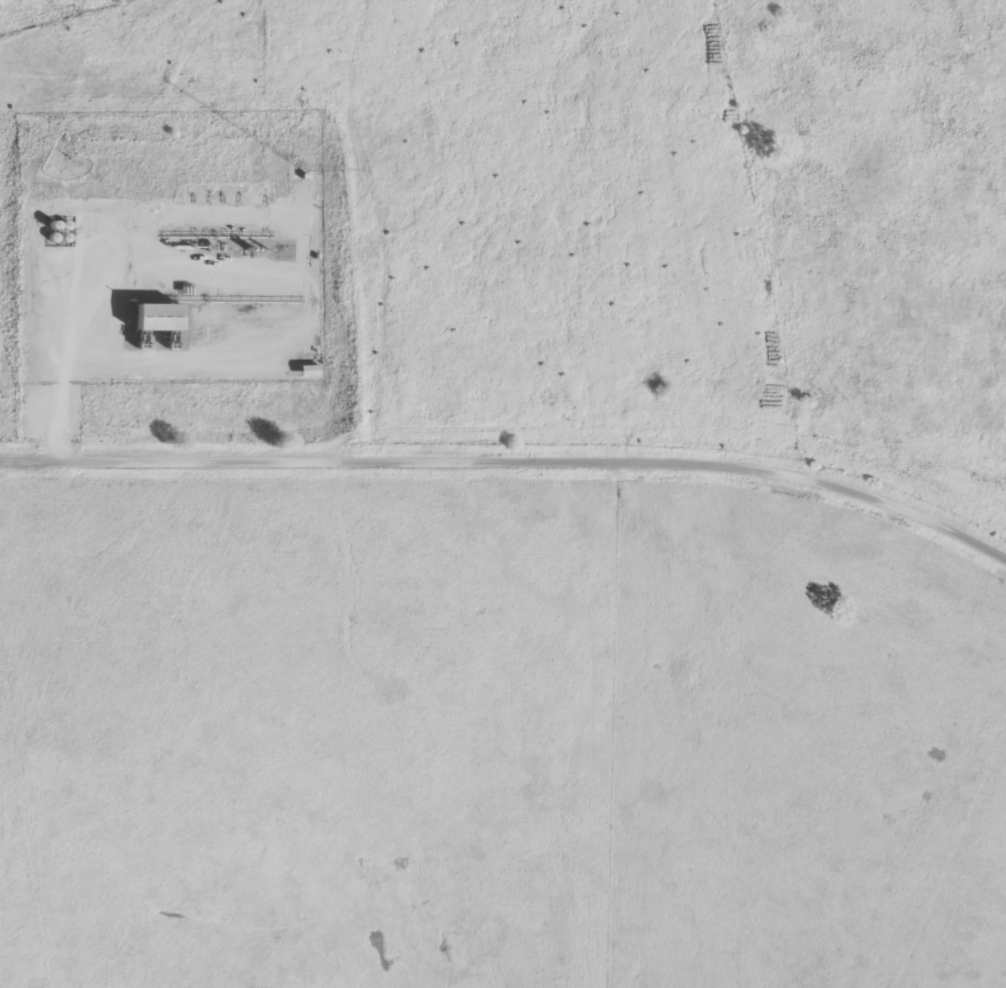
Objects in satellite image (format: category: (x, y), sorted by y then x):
building: (157, 319)
building: (309, 372)
road: (511, 463)

